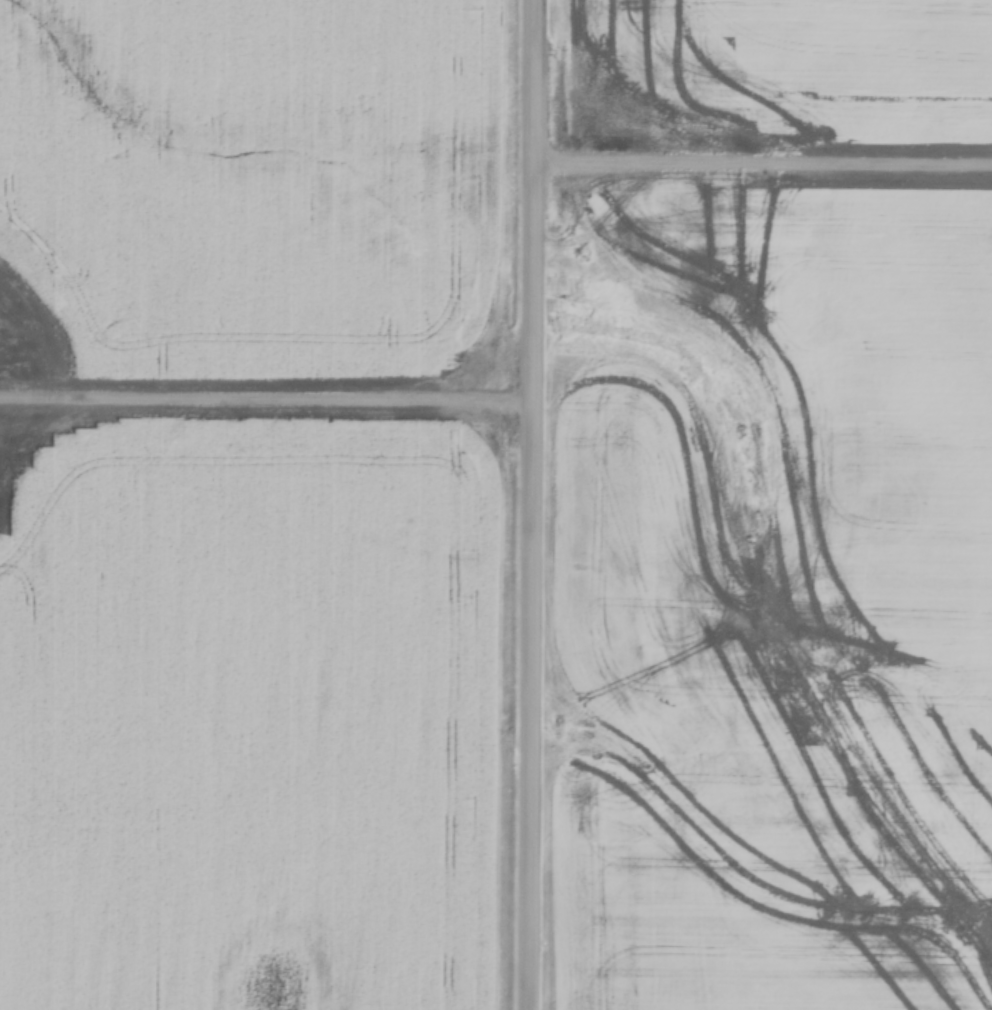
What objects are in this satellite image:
road: (536, 505)

